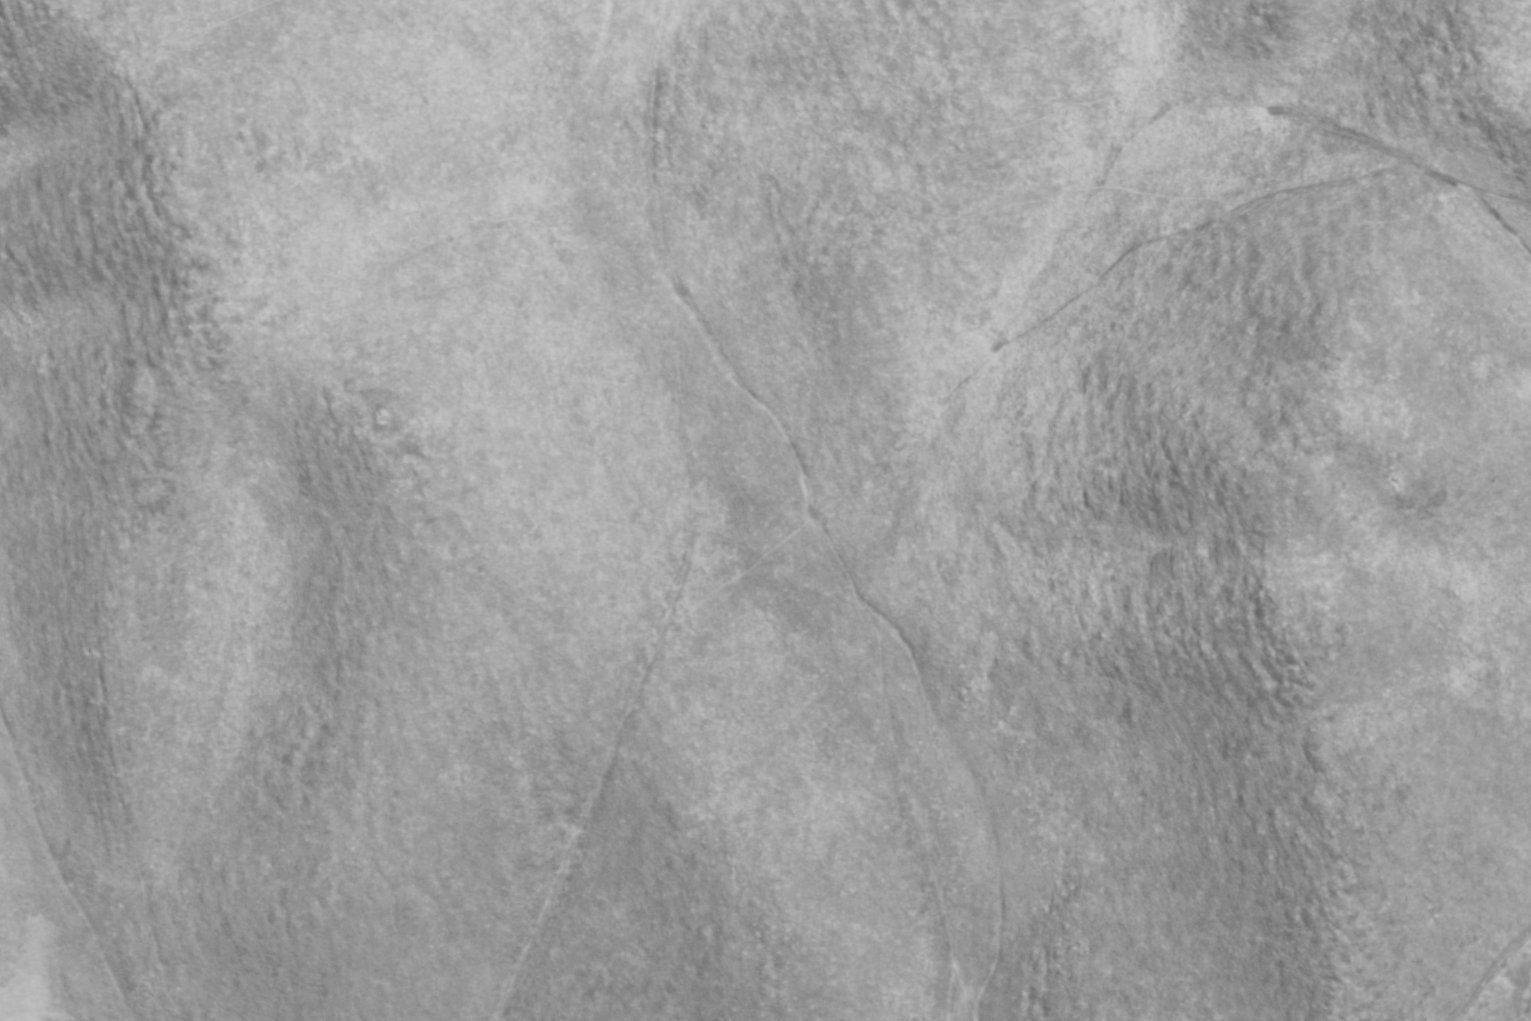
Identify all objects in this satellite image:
road: (1458, 914)

